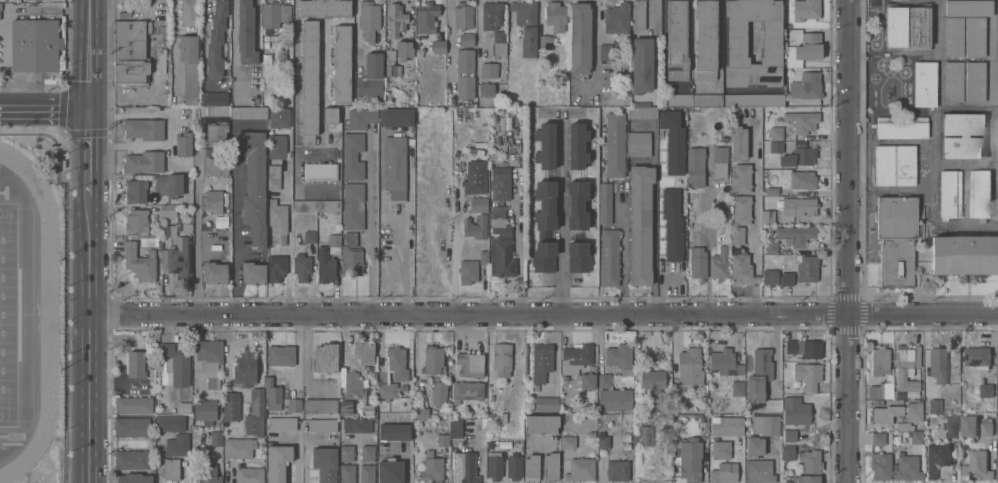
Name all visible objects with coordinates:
building: (38, 0)
building: (324, 8)
building: (969, 8)
building: (806, 10)
building: (188, 12)
building: (274, 15)
building: (490, 15)
building: (639, 15)
building: (462, 16)
building: (555, 16)
road: (655, 17)
building: (426, 18)
building: (617, 19)
building: (396, 20)
building: (368, 21)
building: (526, 27)
building: (895, 27)
building: (919, 27)
parking lot: (4, 28)
building: (159, 28)
road: (356, 30)
building: (245, 33)
building: (953, 37)
building: (216, 38)
building: (580, 38)
building: (975, 38)
building: (736, 39)
building: (466, 40)
building: (677, 41)
building: (705, 41)
building: (545, 42)
building: (499, 43)
road: (595, 43)
building: (34, 45)
building: (438, 47)
road: (202, 50)
building: (404, 50)
building: (804, 50)
road: (450, 51)
building: (605, 52)
road: (89, 54)
building: (128, 55)
building: (342, 64)
building: (391, 64)
building: (189, 66)
building: (641, 66)
building: (489, 70)
building: (465, 74)
building: (370, 77)
building: (309, 81)
building: (952, 82)
building: (975, 82)
building: (925, 84)
building: (806, 86)
building: (486, 90)
road: (297, 96)
building: (217, 98)
building: (676, 99)
building: (707, 99)
building: (753, 99)
building: (641, 102)
road: (44, 108)
traffic signals: (89, 109)
building: (642, 111)
building: (247, 112)
building: (331, 115)
building: (279, 117)
building: (396, 117)
building: (361, 119)
building: (802, 121)
building: (996, 127)
building: (902, 128)
building: (143, 130)
building: (216, 133)
building: (776, 134)
building: (962, 136)
building: (673, 139)
building: (615, 143)
building: (739, 143)
building: (184, 144)
building: (545, 144)
building: (577, 144)
building: (639, 144)
building: (276, 145)
building: (776, 147)
road: (89, 152)
building: (353, 154)
building: (798, 158)
building: (143, 161)
building: (720, 162)
building: (216, 164)
building: (695, 166)
building: (894, 166)
building: (394, 167)
building: (320, 171)
building: (273, 177)
building: (475, 177)
building: (741, 179)
building: (802, 180)
building: (500, 181)
building: (253, 183)
building: (169, 184)
building: (135, 189)
building: (950, 194)
building: (980, 195)
road: (755, 198)
building: (213, 200)
building: (604, 201)
building: (478, 203)
building: (545, 204)
building: (577, 204)
building: (316, 205)
building: (352, 206)
building: (799, 207)
building: (168, 210)
building: (741, 211)
road: (562, 213)
building: (497, 214)
building: (767, 215)
building: (277, 216)
building: (136, 220)
road: (289, 223)
building: (672, 223)
building: (640, 224)
building: (475, 225)
road: (375, 227)
road: (199, 234)
building: (796, 234)
building: (310, 235)
building: (737, 235)
road: (234, 236)
road: (848, 241)
building: (896, 241)
building: (334, 242)
building: (769, 248)
building: (177, 250)
road: (623, 250)
building: (501, 251)
road: (653, 251)
building: (964, 253)
building: (351, 254)
building: (578, 255)
building: (609, 256)
building: (482, 257)
building: (543, 257)
road: (405, 259)
road: (519, 259)
building: (139, 260)
building: (698, 260)
building: (720, 262)
building: (325, 264)
building: (301, 265)
building: (807, 267)
building: (276, 268)
building: (742, 268)
building: (467, 270)
building: (215, 272)
building: (254, 272)
road: (707, 274)
building: (770, 276)
road: (755, 277)
building: (787, 278)
road: (662, 288)
road: (754, 299)
park: (8, 314)
track: (48, 314)
road: (544, 316)
road: (91, 338)
building: (802, 348)
building: (209, 349)
building: (364, 350)
building: (280, 353)
building: (618, 354)
building: (977, 354)
building: (325, 356)
building: (576, 356)
building: (501, 357)
building: (432, 358)
building: (879, 359)
building: (997, 359)
building: (541, 360)
building: (725, 361)
building: (176, 362)
building: (937, 362)
building: (135, 363)
building: (470, 363)
building: (689, 364)
building: (244, 367)
building: (759, 373)
building: (807, 373)
building: (907, 373)
building: (400, 374)
building: (587, 376)
building: (603, 378)
building: (213, 381)
building: (353, 385)
building: (652, 386)
building: (737, 387)
building: (466, 389)
building: (985, 389)
building: (881, 391)
building: (437, 392)
building: (272, 393)
building: (614, 397)
building: (546, 402)
building: (132, 403)
building: (773, 403)
building: (320, 404)
building: (231, 405)
building: (293, 405)
building: (935, 405)
building: (345, 406)
building: (204, 409)
building: (796, 409)
building: (255, 411)
building: (913, 412)
building: (421, 413)
building: (885, 413)
building: (169, 421)
building: (282, 422)
building: (541, 422)
building: (322, 423)
building: (765, 423)
building: (357, 424)
building: (727, 424)
building: (131, 425)
building: (904, 426)
building: (952, 426)
building: (969, 426)
building: (455, 427)
building: (986, 427)
building: (997, 427)
building: (394, 430)
building: (644, 434)
building: (790, 434)
building: (205, 436)
building: (878, 437)
building: (916, 437)
building: (442, 438)
building: (568, 439)
building: (605, 439)
building: (177, 443)
building: (754, 444)
building: (238, 446)
building: (721, 448)
building: (915, 449)
building: (367, 451)
building: (346, 452)
building: (936, 456)
building: (131, 457)
building: (689, 457)
building: (802, 457)
building: (277, 461)
building: (325, 463)
building: (494, 463)
building: (550, 464)
building: (880, 464)
building: (977, 464)
building: (514, 465)
building: (463, 466)
building: (531, 466)
building: (170, 468)
building: (432, 468)
building: (580, 468)
building: (906, 468)
building: (617, 469)
building: (390, 470)
building: (758, 470)
building: (724, 471)
building: (207, 472)
building: (366, 472)
building: (347, 473)
building: (249, 474)
building: (997, 475)
building: (132, 477)
building: (807, 478)

